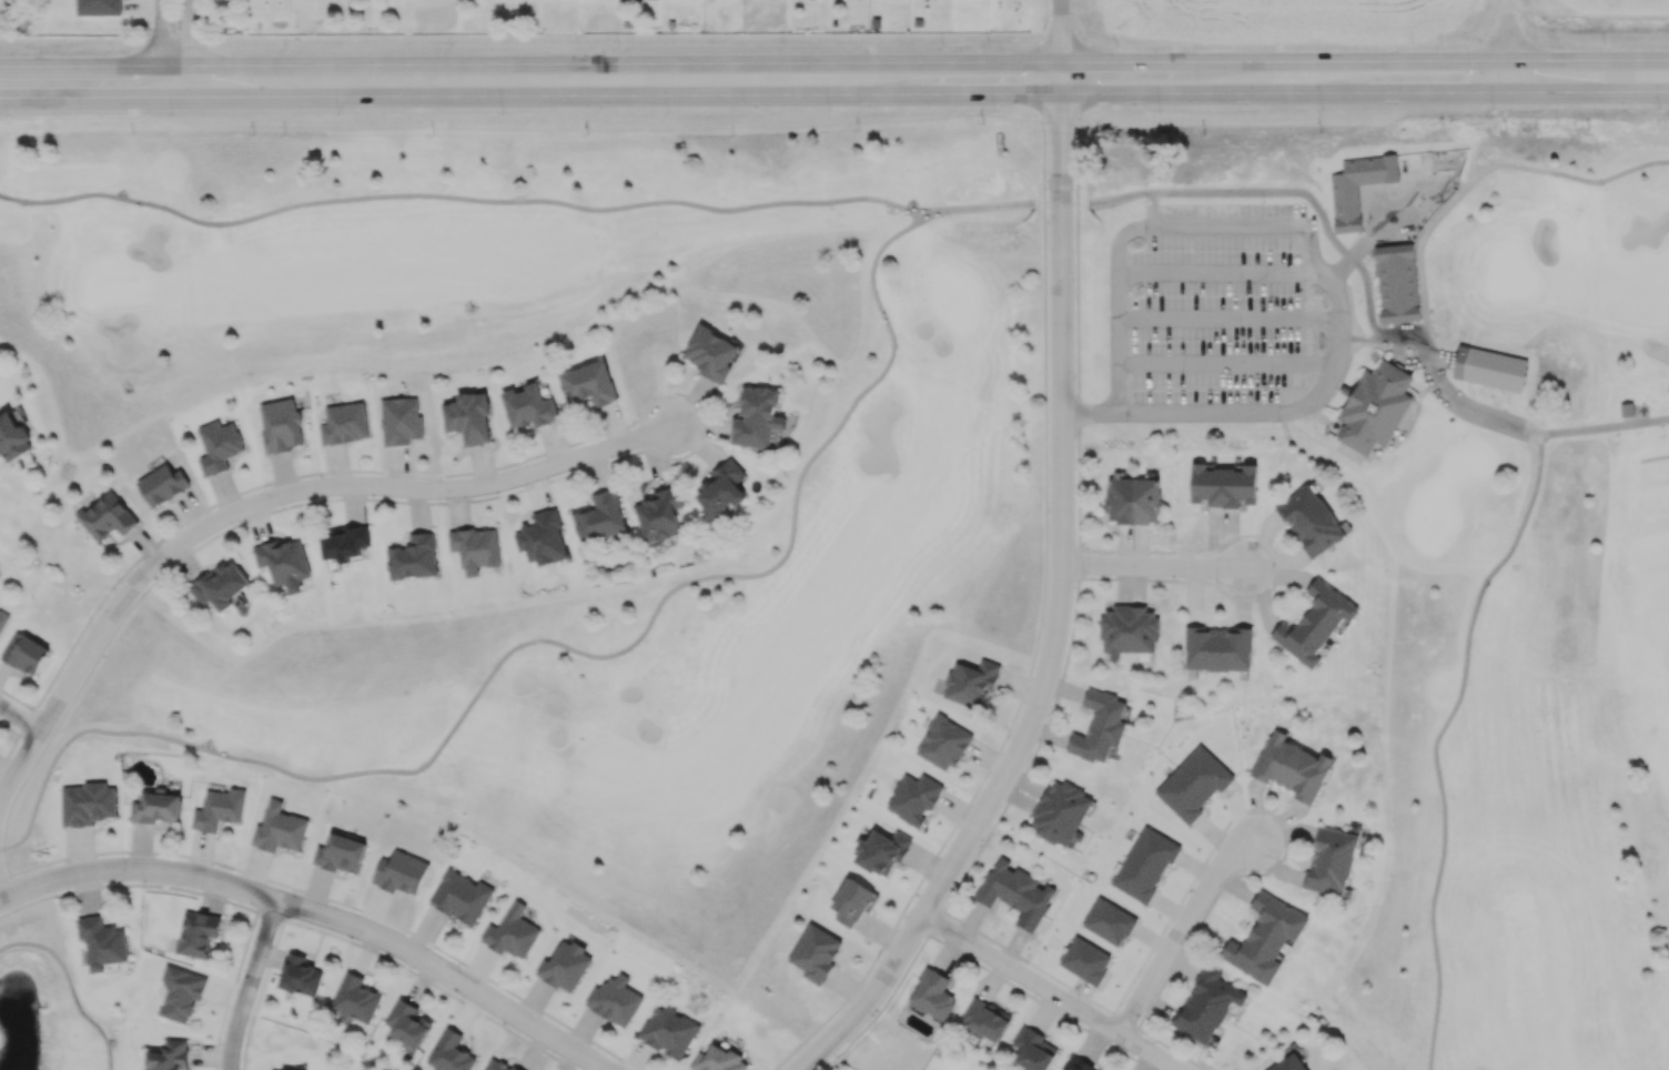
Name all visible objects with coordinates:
road: (1507, 30)
road: (1060, 31)
road: (162, 50)
road: (189, 50)
road: (1365, 61)
road: (611, 63)
road: (81, 67)
road: (1509, 77)
road: (1365, 92)
road: (618, 95)
road: (88, 98)
road: (1365, 108)
road: (530, 110)
road: (1413, 175)
road: (1566, 176)
road: (1440, 183)
road: (1294, 192)
road: (459, 198)
road: (975, 206)
building: (1346, 206)
road: (1375, 208)
road: (1395, 209)
building: (889, 211)
road: (1238, 226)
road: (1384, 234)
road: (1353, 255)
road: (1420, 258)
building: (1396, 283)
parking lot: (1220, 311)
road: (1117, 333)
building: (712, 353)
road: (1414, 363)
building: (1459, 363)
building: (588, 383)
building: (528, 405)
building: (1374, 408)
building: (1626, 408)
road: (1469, 412)
road: (1281, 414)
road: (1090, 415)
building: (468, 416)
building: (756, 417)
building: (399, 420)
building: (780, 422)
building: (344, 423)
building: (281, 425)
road: (1604, 428)
building: (12, 437)
building: (218, 446)
building: (162, 484)
building: (1223, 485)
building: (725, 486)
park: (941, 493)
building: (1133, 499)
road: (270, 503)
building: (660, 514)
building: (107, 516)
building: (600, 517)
building: (1311, 521)
building: (543, 537)
building: (345, 542)
building: (476, 547)
building: (414, 557)
building: (283, 561)
road: (1156, 567)
building: (220, 585)
road: (1056, 605)
building: (2, 618)
building: (1315, 623)
building: (1129, 629)
road: (546, 640)
building: (1218, 648)
building: (24, 653)
building: (971, 683)
road: (21, 715)
building: (1100, 726)
road: (1436, 741)
building: (943, 743)
building: (1292, 767)
building: (1193, 784)
building: (913, 798)
building: (87, 804)
building: (154, 806)
building: (218, 809)
building: (1061, 812)
building: (279, 827)
building: (881, 850)
building: (341, 854)
building: (1331, 861)
building: (1144, 865)
building: (399, 872)
road: (2, 889)
building: (1016, 892)
building: (461, 896)
building: (852, 901)
road: (316, 913)
building: (1109, 921)
road: (1181, 929)
building: (198, 932)
building: (512, 932)
building: (1265, 938)
building: (102, 941)
road: (7, 948)
building: (816, 952)
building: (1085, 960)
building: (564, 966)
building: (300, 976)
road: (254, 985)
road: (73, 993)
building: (181, 993)
building: (933, 993)
road: (1048, 995)
park: (47, 999)
building: (354, 999)
building: (614, 1000)
building: (1206, 1003)
building: (985, 1019)
building: (407, 1023)
building: (668, 1031)
building: (1033, 1049)
building: (449, 1052)
building: (170, 1056)
building: (718, 1060)
building: (1289, 1063)
building: (497, 1064)
building: (1076, 1064)
building: (283, 1069)

